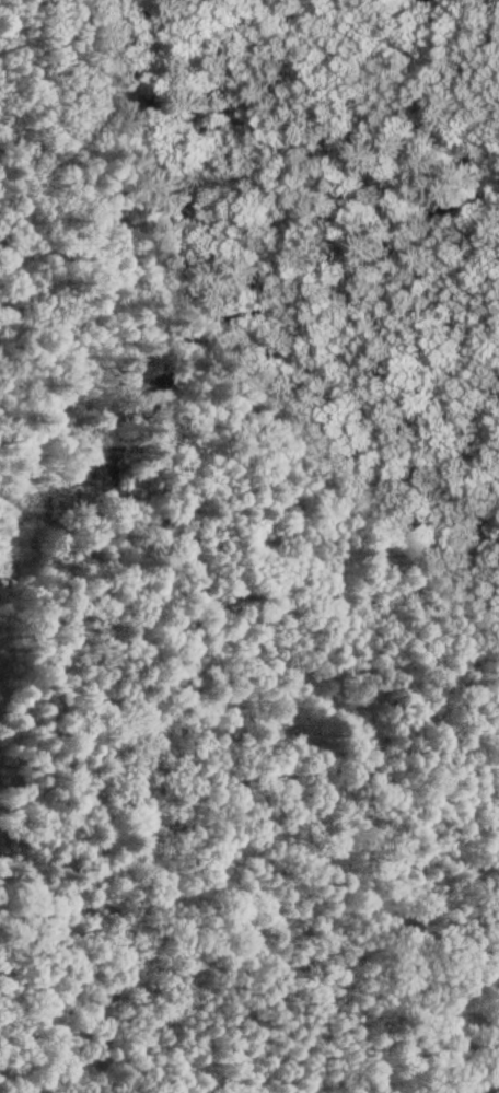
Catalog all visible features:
road: (252, 828)

